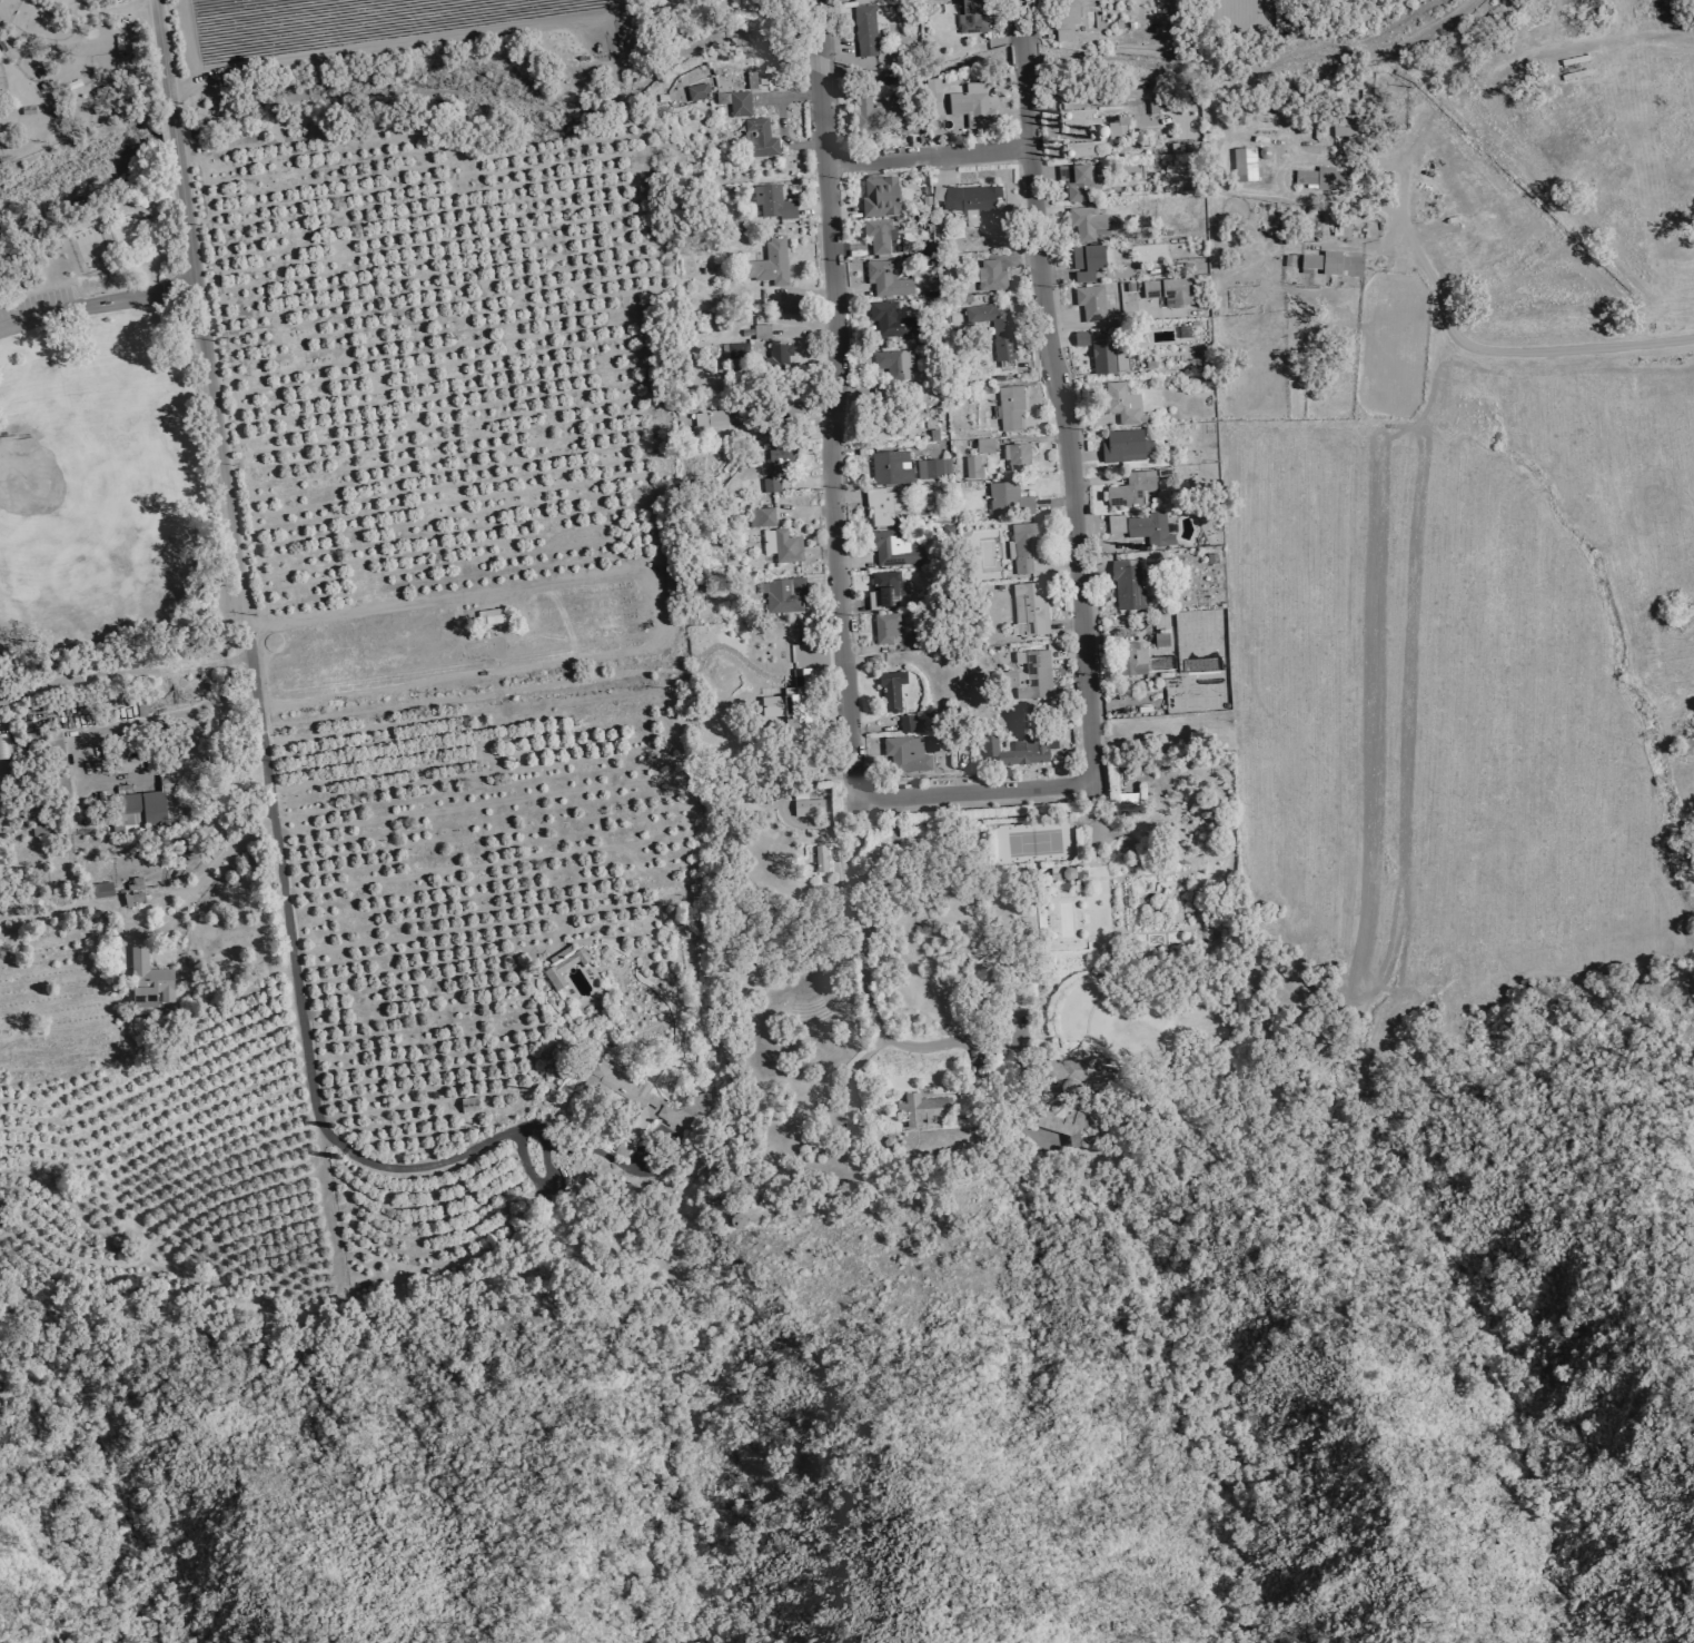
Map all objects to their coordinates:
building: (862, 1)
road: (107, 11)
building: (973, 18)
building: (1067, 19)
road: (1019, 20)
road: (812, 27)
building: (865, 31)
road: (1621, 37)
road: (1021, 52)
road: (160, 58)
road: (814, 62)
building: (701, 91)
building: (934, 97)
building: (736, 103)
building: (973, 107)
building: (868, 118)
building: (907, 126)
road: (171, 132)
building: (1346, 132)
building: (760, 139)
road: (923, 151)
building: (1247, 164)
building: (1320, 179)
building: (1079, 182)
building: (881, 197)
building: (970, 201)
building: (774, 204)
building: (1087, 224)
building: (1088, 263)
building: (1311, 263)
building: (770, 264)
building: (1343, 266)
building: (992, 276)
building: (888, 280)
building: (1170, 291)
parking lot: (32, 299)
road: (96, 300)
building: (1093, 304)
building: (891, 320)
building: (995, 328)
building: (762, 333)
building: (1081, 339)
road: (1472, 350)
building: (735, 352)
building: (1108, 356)
building: (780, 357)
building: (895, 363)
building: (1125, 405)
building: (1011, 409)
building: (714, 427)
park: (96, 437)
building: (985, 446)
building: (1127, 447)
building: (1018, 458)
building: (777, 468)
building: (891, 468)
building: (973, 468)
building: (933, 469)
building: (1132, 489)
park: (53, 493)
building: (1009, 499)
building: (885, 507)
building: (762, 518)
building: (1116, 525)
building: (1149, 529)
road: (1073, 534)
building: (783, 546)
building: (1023, 548)
road: (831, 556)
building: (1128, 585)
road: (533, 586)
building: (884, 592)
building: (782, 596)
building: (1030, 610)
building: (888, 630)
building: (1161, 641)
building: (909, 644)
building: (1132, 660)
building: (1165, 662)
building: (1031, 676)
building: (892, 689)
building: (789, 712)
building: (908, 724)
building: (4, 746)
building: (1022, 748)
road: (259, 749)
building: (908, 754)
building: (129, 763)
road: (970, 788)
building: (149, 806)
building: (809, 808)
building: (821, 859)
building: (1069, 882)
building: (102, 890)
building: (133, 892)
building: (565, 964)
building: (149, 980)
road: (987, 1045)
building: (1077, 1069)
building: (850, 1093)
building: (651, 1098)
building: (924, 1109)
building: (1069, 1124)
building: (625, 1148)

